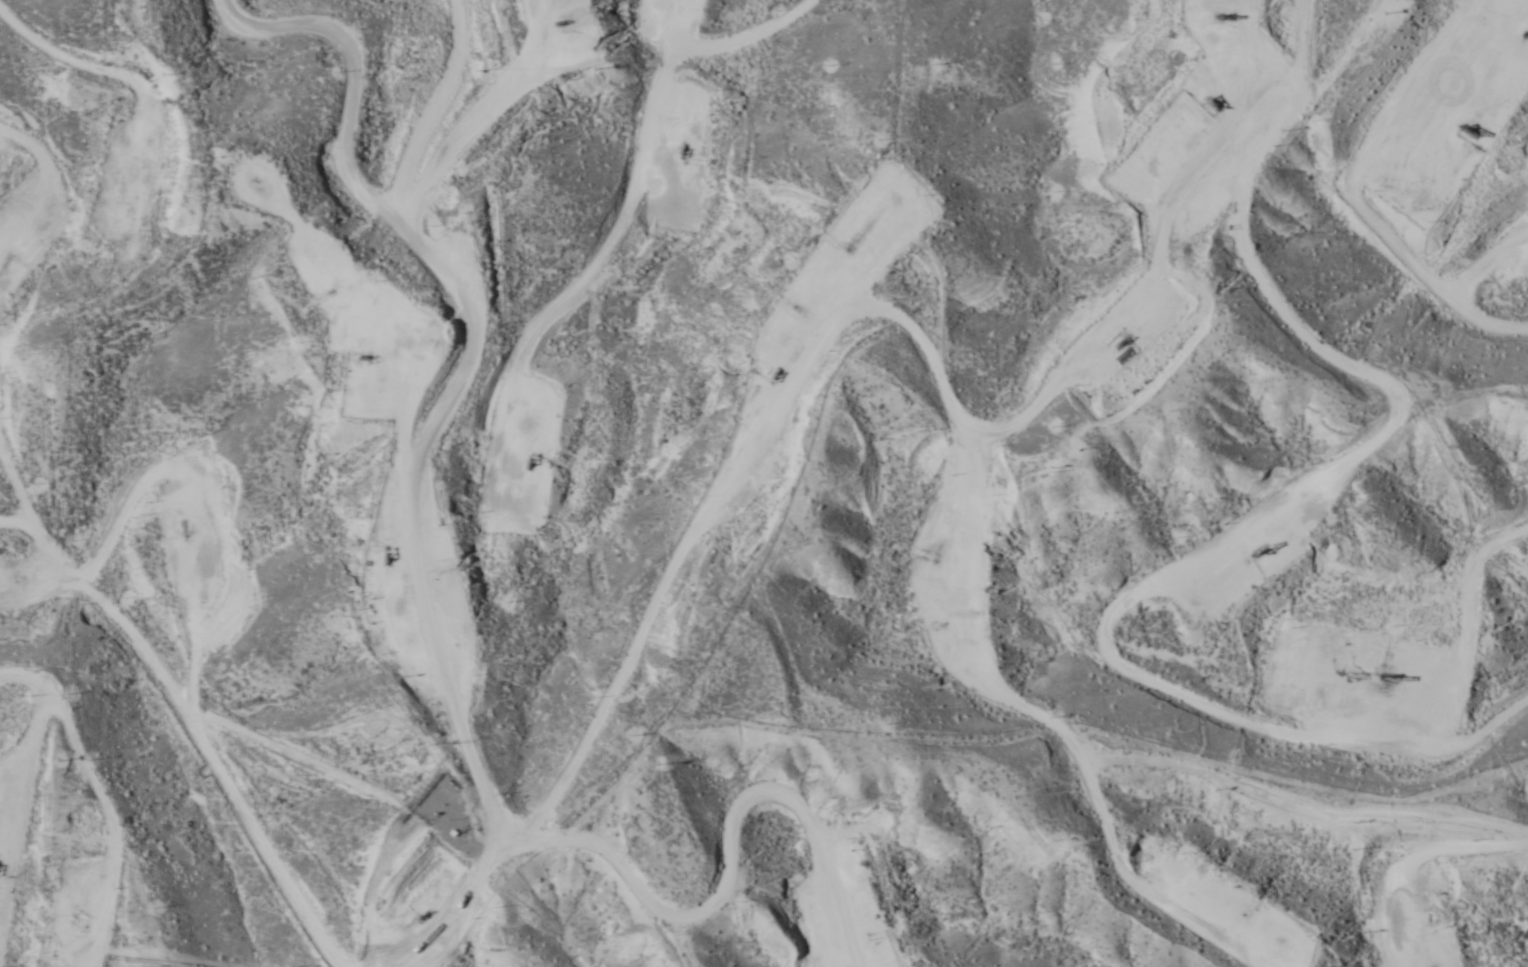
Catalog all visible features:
building: (646, 26)
road: (557, 119)
road: (61, 128)
road: (1297, 296)
road: (966, 451)
road: (688, 545)
road: (493, 612)
building: (1443, 677)
road: (1333, 832)
road: (417, 938)

